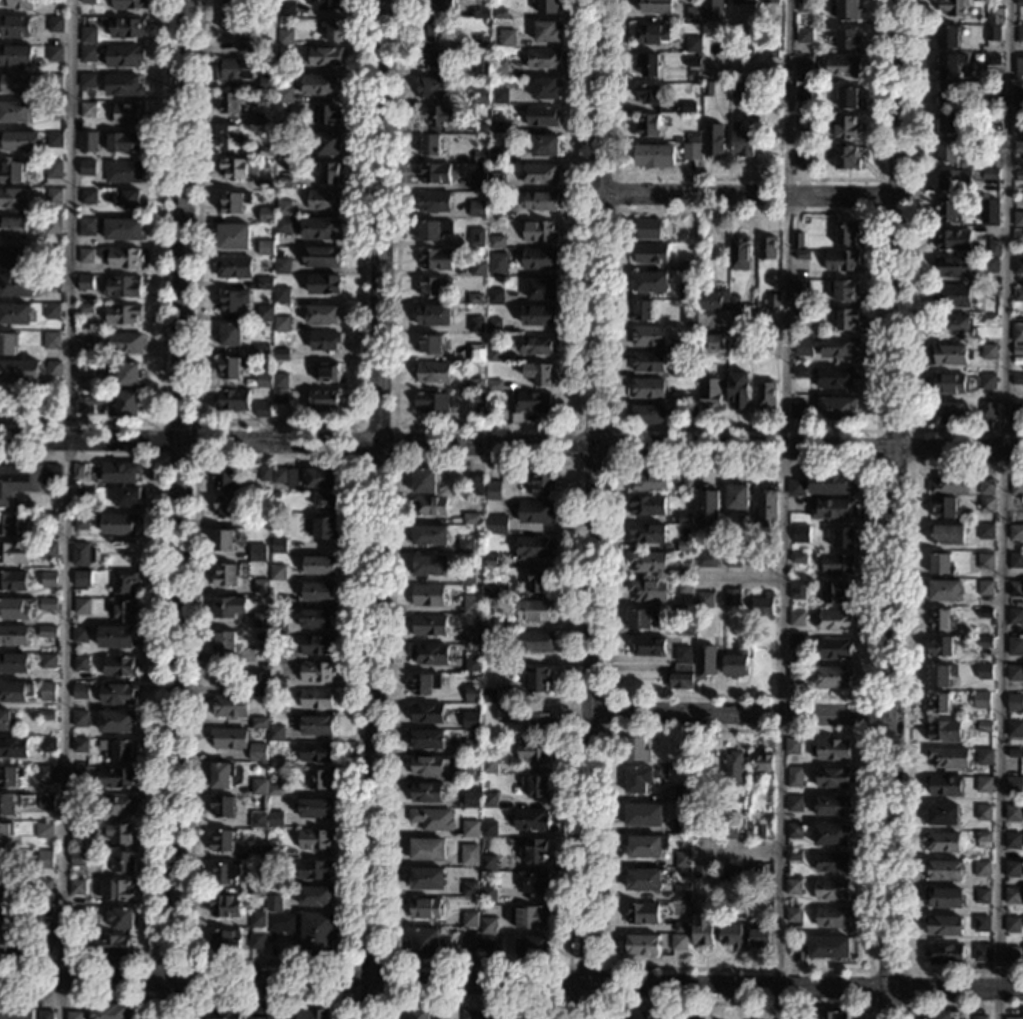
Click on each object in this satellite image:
building: (89, 2)
building: (744, 2)
building: (1019, 3)
building: (19, 4)
building: (128, 4)
building: (330, 4)
building: (768, 4)
building: (438, 6)
building: (547, 6)
building: (657, 6)
building: (805, 6)
building: (955, 7)
building: (287, 9)
building: (713, 9)
building: (846, 10)
building: (481, 14)
building: (499, 14)
building: (694, 14)
building: (231, 16)
building: (995, 16)
building: (56, 24)
building: (15, 27)
building: (127, 27)
building: (335, 30)
building: (430, 30)
building: (546, 32)
building: (993, 33)
building: (1020, 34)
building: (89, 35)
building: (653, 35)
building: (804, 35)
building: (285, 37)
building: (948, 37)
building: (506, 38)
building: (845, 39)
building: (481, 42)
building: (693, 44)
building: (247, 45)
building: (747, 49)
building: (54, 53)
building: (88, 54)
building: (16, 56)
building: (125, 56)
building: (325, 56)
building: (434, 58)
building: (544, 59)
building: (993, 60)
building: (693, 61)
building: (648, 65)
building: (950, 65)
building: (284, 66)
road: (749, 66)
building: (804, 66)
building: (843, 66)
building: (1019, 66)
building: (481, 68)
building: (498, 68)
building: (236, 69)
building: (87, 81)
building: (55, 82)
building: (285, 82)
building: (267, 83)
building: (16, 84)
building: (123, 85)
building: (321, 85)
building: (546, 88)
building: (740, 88)
building: (434, 89)
building: (708, 89)
building: (648, 93)
building: (803, 94)
building: (285, 95)
building: (949, 95)
building: (481, 96)
building: (499, 96)
building: (848, 97)
building: (1018, 97)
building: (231, 103)
building: (998, 103)
building: (688, 107)
building: (88, 110)
building: (54, 111)
building: (14, 112)
building: (128, 114)
building: (328, 115)
building: (436, 115)
building: (542, 117)
building: (993, 117)
building: (260, 118)
building: (804, 123)
building: (953, 123)
building: (647, 125)
building: (283, 126)
building: (846, 126)
building: (1018, 126)
building: (480, 128)
building: (497, 129)
building: (230, 138)
building: (694, 138)
building: (55, 139)
building: (714, 140)
building: (20, 141)
building: (741, 141)
building: (88, 142)
building: (123, 143)
building: (329, 144)
building: (430, 144)
building: (1018, 145)
building: (544, 146)
building: (992, 147)
building: (949, 150)
building: (267, 151)
building: (284, 151)
building: (691, 152)
building: (498, 154)
building: (654, 155)
building: (480, 156)
building: (847, 158)
building: (802, 162)
building: (87, 167)
building: (234, 168)
building: (53, 169)
building: (12, 172)
building: (124, 172)
building: (330, 173)
building: (434, 173)
building: (539, 174)
building: (990, 175)
building: (1019, 176)
road: (747, 179)
building: (498, 181)
building: (956, 181)
building: (284, 183)
building: (479, 184)
building: (266, 185)
building: (54, 196)
building: (16, 197)
building: (88, 197)
road: (748, 197)
road: (878, 197)
building: (127, 199)
building: (325, 200)
building: (235, 201)
building: (434, 201)
building: (540, 201)
building: (991, 205)
building: (284, 207)
building: (476, 209)
building: (497, 210)
road: (612, 211)
building: (946, 211)
road: (877, 214)
building: (266, 215)
building: (1018, 219)
building: (53, 225)
building: (285, 225)
building: (16, 226)
building: (88, 227)
building: (321, 228)
building: (124, 229)
building: (647, 229)
building: (434, 230)
building: (539, 232)
building: (846, 232)
building: (233, 237)
building: (1018, 237)
building: (476, 238)
building: (797, 239)
building: (952, 240)
building: (495, 241)
building: (265, 248)
building: (766, 248)
building: (994, 248)
building: (52, 250)
building: (739, 252)
building: (651, 254)
building: (802, 255)
building: (86, 256)
building: (11, 257)
building: (122, 257)
building: (322, 257)
building: (435, 259)
building: (539, 259)
building: (841, 261)
building: (1018, 264)
building: (282, 265)
building: (497, 265)
building: (990, 265)
building: (688, 266)
building: (953, 266)
building: (234, 267)
building: (478, 268)
road: (913, 271)
building: (52, 282)
building: (85, 282)
building: (650, 282)
building: (265, 283)
building: (324, 284)
building: (17, 285)
building: (434, 286)
building: (123, 287)
building: (801, 287)
building: (541, 289)
building: (845, 290)
building: (686, 291)
building: (988, 291)
road: (162, 292)
building: (281, 294)
building: (1018, 294)
building: (495, 296)
building: (951, 296)
building: (475, 298)
building: (714, 299)
building: (233, 300)
building: (734, 302)
building: (773, 302)
building: (86, 308)
building: (52, 310)
building: (641, 310)
building: (14, 314)
building: (122, 314)
building: (265, 314)
building: (322, 314)
building: (434, 315)
building: (537, 316)
building: (688, 316)
building: (800, 317)
building: (846, 318)
building: (989, 319)
building: (281, 323)
building: (476, 324)
building: (494, 325)
road: (746, 327)
building: (957, 327)
building: (1017, 332)
building: (230, 334)
building: (648, 336)
building: (85, 339)
building: (51, 340)
building: (324, 340)
building: (763, 342)
building: (8, 343)
building: (126, 343)
building: (431, 343)
building: (714, 343)
building: (535, 345)
building: (680, 346)
building: (803, 346)
building: (838, 347)
building: (261, 349)
building: (988, 352)
building: (477, 353)
building: (281, 354)
building: (495, 354)
building: (950, 354)
building: (1018, 356)
building: (647, 361)
building: (231, 367)
building: (53, 369)
building: (85, 369)
building: (274, 369)
building: (20, 371)
building: (326, 372)
building: (679, 372)
building: (801, 372)
building: (433, 373)
building: (128, 374)
building: (538, 374)
building: (835, 378)
building: (264, 379)
building: (1016, 379)
building: (279, 380)
building: (988, 382)
building: (477, 384)
building: (949, 384)
building: (494, 386)
building: (647, 389)
building: (738, 390)
building: (710, 392)
building: (764, 395)
building: (280, 396)
building: (679, 397)
building: (232, 400)
building: (480, 400)
building: (322, 401)
building: (431, 402)
building: (532, 403)
building: (112, 404)
building: (836, 408)
building: (263, 410)
building: (797, 410)
building: (988, 410)
building: (1017, 411)
building: (689, 413)
building: (948, 413)
building: (648, 414)
road: (278, 425)
road: (393, 427)
road: (485, 427)
road: (511, 448)
road: (195, 458)
road: (357, 461)
road: (609, 464)
road: (574, 465)
road: (609, 465)
road: (910, 468)
building: (78, 471)
building: (119, 472)
building: (52, 474)
building: (264, 474)
building: (224, 477)
building: (284, 477)
building: (321, 478)
building: (423, 480)
building: (18, 481)
building: (649, 482)
building: (687, 483)
building: (831, 483)
building: (949, 484)
building: (474, 485)
building: (541, 485)
building: (1016, 486)
building: (986, 487)
building: (795, 488)
building: (493, 490)
building: (85, 496)
building: (126, 496)
building: (736, 497)
building: (327, 500)
building: (799, 504)
building: (986, 504)
building: (647, 505)
building: (430, 506)
building: (707, 506)
building: (768, 506)
building: (944, 506)
building: (228, 507)
road: (67, 509)
road: (175, 509)
road: (375, 509)
road: (591, 509)
road: (783, 509)
building: (831, 509)
road: (896, 509)
road: (1002, 509)
building: (536, 512)
building: (49, 518)
building: (471, 518)
building: (684, 518)
building: (262, 520)
building: (81, 521)
building: (118, 523)
building: (496, 524)
building: (9, 525)
building: (50, 528)
building: (326, 528)
building: (985, 531)
building: (647, 533)
building: (1016, 533)
building: (800, 534)
building: (430, 535)
building: (947, 535)
building: (842, 538)
building: (223, 540)
building: (279, 545)
building: (465, 546)
building: (684, 546)
building: (533, 548)
building: (48, 551)
building: (14, 553)
building: (258, 553)
building: (82, 554)
building: (797, 558)
building: (706, 559)
building: (767, 559)
building: (491, 560)
building: (732, 560)
building: (1016, 560)
building: (985, 561)
building: (647, 562)
building: (939, 563)
building: (837, 564)
building: (320, 565)
building: (430, 565)
building: (278, 572)
building: (685, 574)
building: (226, 575)
building: (467, 576)
building: (82, 577)
road: (739, 578)
building: (49, 579)
building: (539, 579)
building: (13, 581)
building: (125, 582)
building: (261, 587)
building: (685, 587)
building: (985, 588)
building: (1015, 589)
building: (491, 590)
building: (648, 590)
building: (797, 590)
building: (319, 591)
building: (945, 591)
building: (836, 593)
building: (428, 595)
building: (731, 598)
building: (279, 599)
building: (705, 600)
building: (47, 604)
building: (472, 604)
building: (762, 605)
building: (81, 606)
building: (225, 607)
building: (13, 609)
building: (534, 610)
building: (125, 612)
building: (984, 613)
building: (1015, 616)
building: (260, 617)
building: (796, 618)
building: (317, 619)
building: (641, 619)
building: (939, 620)
building: (834, 621)
building: (490, 624)
building: (278, 625)
building: (428, 625)
building: (686, 628)
building: (47, 632)
building: (80, 634)
building: (14, 635)
building: (472, 635)
building: (117, 636)
building: (224, 642)
building: (534, 642)
building: (795, 642)
building: (984, 642)
building: (318, 645)
building: (648, 645)
building: (940, 646)
building: (1015, 646)
building: (835, 649)
building: (259, 653)
building: (430, 654)
building: (683, 654)
building: (277, 655)
building: (48, 661)
building: (705, 661)
building: (13, 663)
building: (81, 663)
building: (735, 664)
building: (472, 665)
building: (119, 666)
building: (983, 671)
building: (317, 672)
building: (1015, 673)
building: (795, 674)
building: (940, 675)
building: (680, 677)
building: (832, 677)
building: (538, 679)
building: (258, 682)
building: (277, 682)
building: (426, 683)
building: (15, 691)
building: (80, 691)
building: (47, 692)
building: (472, 693)
building: (118, 694)
building: (489, 695)
road: (872, 698)
building: (317, 699)
building: (981, 701)
building: (938, 703)
building: (1015, 703)
building: (230, 706)
road: (157, 708)
building: (473, 708)
building: (276, 709)
road: (741, 711)
building: (427, 713)
building: (505, 714)
building: (46, 715)
building: (80, 718)
building: (5, 721)
building: (117, 721)
building: (473, 722)
building: (260, 723)
building: (542, 723)
road: (905, 723)
building: (317, 725)
building: (984, 726)
road: (606, 729)
building: (1014, 729)
road: (607, 730)
building: (944, 731)
building: (276, 732)
building: (229, 738)
building: (427, 739)
building: (79, 744)
building: (47, 745)
building: (683, 745)
building: (791, 746)
building: (14, 747)
building: (471, 748)
building: (117, 749)
building: (637, 750)
building: (831, 750)
building: (535, 751)
building: (317, 752)
building: (258, 753)
building: (1013, 754)
building: (984, 757)
building: (948, 758)
building: (276, 762)
building: (762, 762)
building: (430, 765)
building: (489, 765)
building: (733, 768)
building: (45, 774)
building: (79, 774)
building: (471, 774)
building: (221, 775)
building: (10, 776)
building: (116, 777)
building: (794, 777)
building: (830, 777)
building: (320, 779)
building: (637, 779)
building: (983, 784)
building: (1014, 784)
building: (944, 785)
building: (258, 787)
building: (537, 787)
building: (274, 790)
building: (426, 792)
building: (681, 792)
building: (471, 800)
building: (489, 800)
building: (45, 802)
building: (79, 802)
building: (8, 804)
building: (794, 804)
building: (118, 805)
building: (223, 805)
building: (830, 806)
building: (313, 807)
building: (983, 812)
building: (1012, 813)
building: (643, 815)
building: (942, 815)
building: (275, 819)
building: (432, 819)
building: (258, 820)
building: (532, 820)
building: (681, 826)
building: (488, 828)
building: (470, 829)
building: (793, 830)
building: (44, 831)
building: (78, 831)
building: (729, 831)
building: (759, 831)
building: (5, 833)
building: (120, 834)
building: (830, 835)
building: (982, 839)
building: (315, 840)
building: (222, 841)
building: (1012, 841)
building: (942, 842)
building: (646, 846)
building: (427, 849)
road: (737, 850)
building: (535, 851)
building: (274, 852)
building: (257, 853)
building: (469, 855)
building: (793, 856)
building: (78, 858)
building: (682, 859)
building: (45, 860)
building: (5, 862)
building: (123, 862)
building: (488, 862)
building: (831, 862)
building: (981, 868)
building: (1011, 869)
building: (314, 870)
building: (944, 870)
building: (701, 871)
building: (756, 871)
building: (222, 874)
building: (731, 874)
building: (426, 878)
building: (274, 879)
building: (646, 880)
building: (44, 884)
building: (534, 885)
building: (77, 886)
building: (257, 886)
building: (793, 886)
building: (11, 888)
building: (470, 888)
building: (117, 890)
building: (831, 890)
building: (682, 893)
building: (488, 894)
building: (981, 895)
building: (315, 896)
building: (1012, 896)
building: (945, 898)
building: (273, 903)
building: (224, 906)
building: (424, 908)
building: (44, 911)
building: (642, 914)
building: (76, 915)
building: (794, 915)
building: (10, 916)
building: (527, 916)
building: (121, 918)
building: (833, 918)
building: (257, 919)
building: (469, 919)
building: (280, 922)
building: (980, 924)
building: (1012, 925)
building: (488, 926)
building: (943, 926)
building: (681, 927)
building: (703, 930)
building: (315, 935)
building: (732, 935)
building: (759, 938)
building: (44, 940)
building: (224, 940)
building: (257, 940)
building: (74, 942)
building: (678, 942)
building: (424, 944)
building: (468, 944)
building: (485, 944)
building: (9, 945)
building: (112, 945)
building: (642, 946)
building: (828, 947)
building: (531, 948)
building: (981, 953)
building: (944, 954)
building: (1011, 955)
road: (188, 964)
road: (903, 971)
road: (511, 986)
road: (86, 998)
road: (268, 999)
road: (385, 1001)
road: (476, 1002)
road: (604, 1002)
road: (733, 1005)
road: (957, 1007)
building: (15, 1010)
building: (109, 1011)
building: (225, 1014)
building: (313, 1014)
building: (421, 1014)
building: (468, 1014)
building: (487, 1014)
building: (831, 1014)
building: (46, 1015)
building: (75, 1015)
building: (646, 1015)
building: (937, 1015)
building: (532, 1016)
building: (791, 1017)
building: (256, 1018)
building: (272, 1018)
building: (979, 1018)
building: (1011, 1018)

